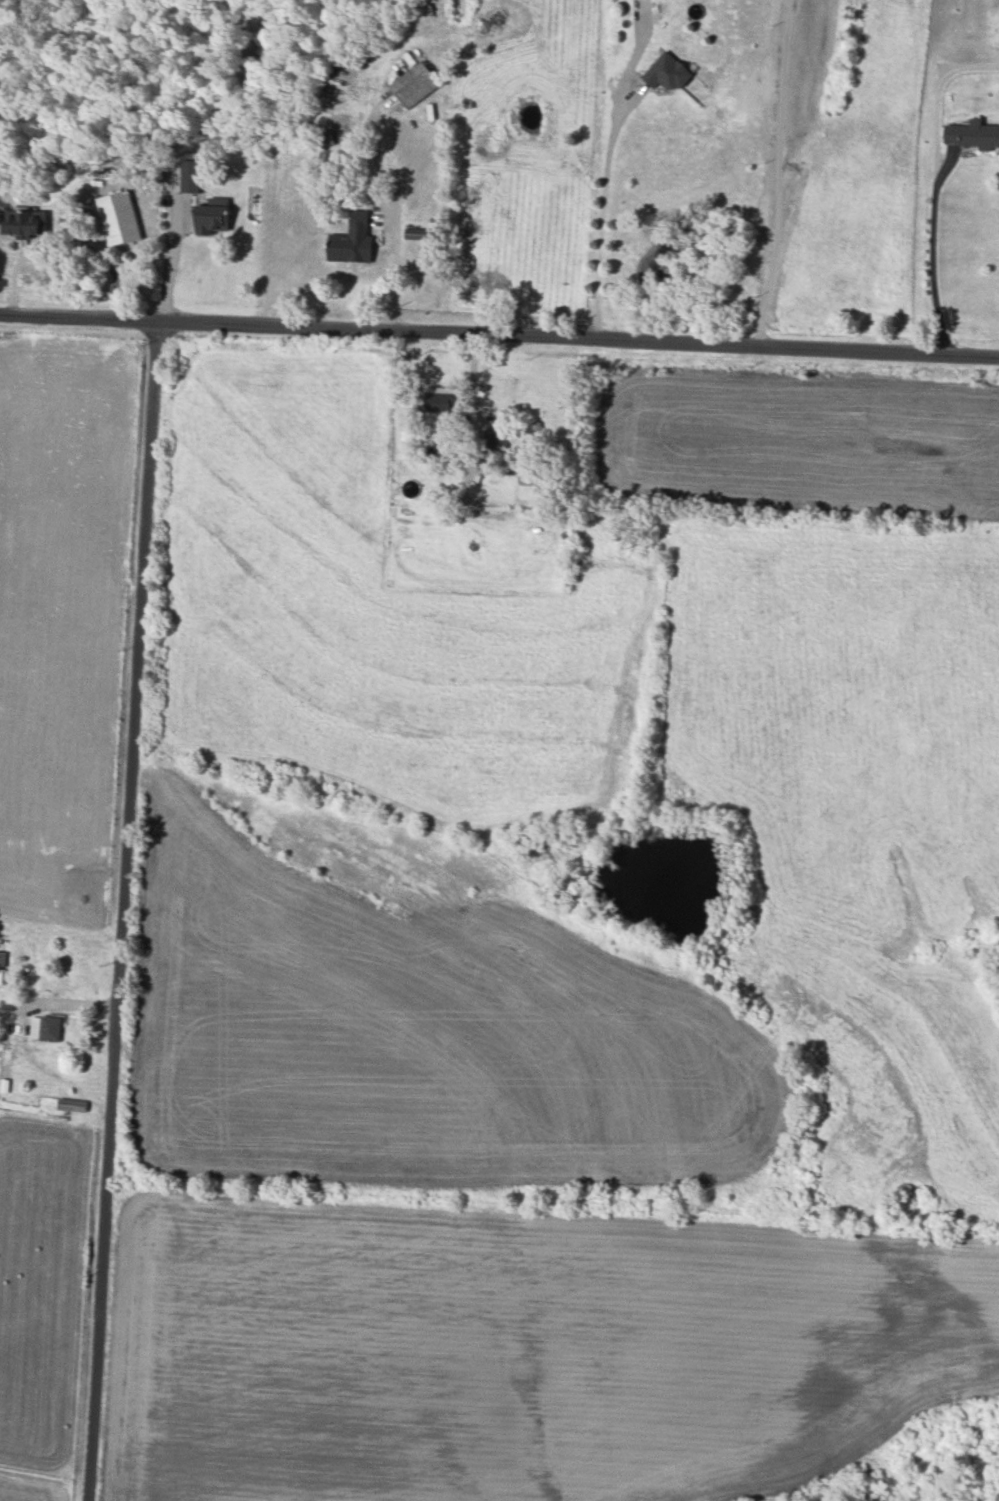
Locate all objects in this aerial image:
building: (667, 72)
building: (416, 84)
road: (936, 100)
building: (973, 134)
road: (778, 170)
building: (189, 176)
road: (601, 214)
building: (214, 216)
building: (120, 217)
building: (27, 222)
building: (420, 233)
building: (353, 240)
road: (933, 248)
road: (173, 255)
road: (392, 271)
road: (499, 327)
road: (473, 383)
building: (443, 398)
crop: (789, 436)
building: (495, 438)
building: (529, 492)
crop: (65, 613)
crop: (638, 735)
road: (127, 906)
building: (3, 958)
road: (75, 1002)
crop: (435, 1018)
building: (46, 1028)
building: (73, 1104)
crop: (44, 1286)
crop: (533, 1347)

